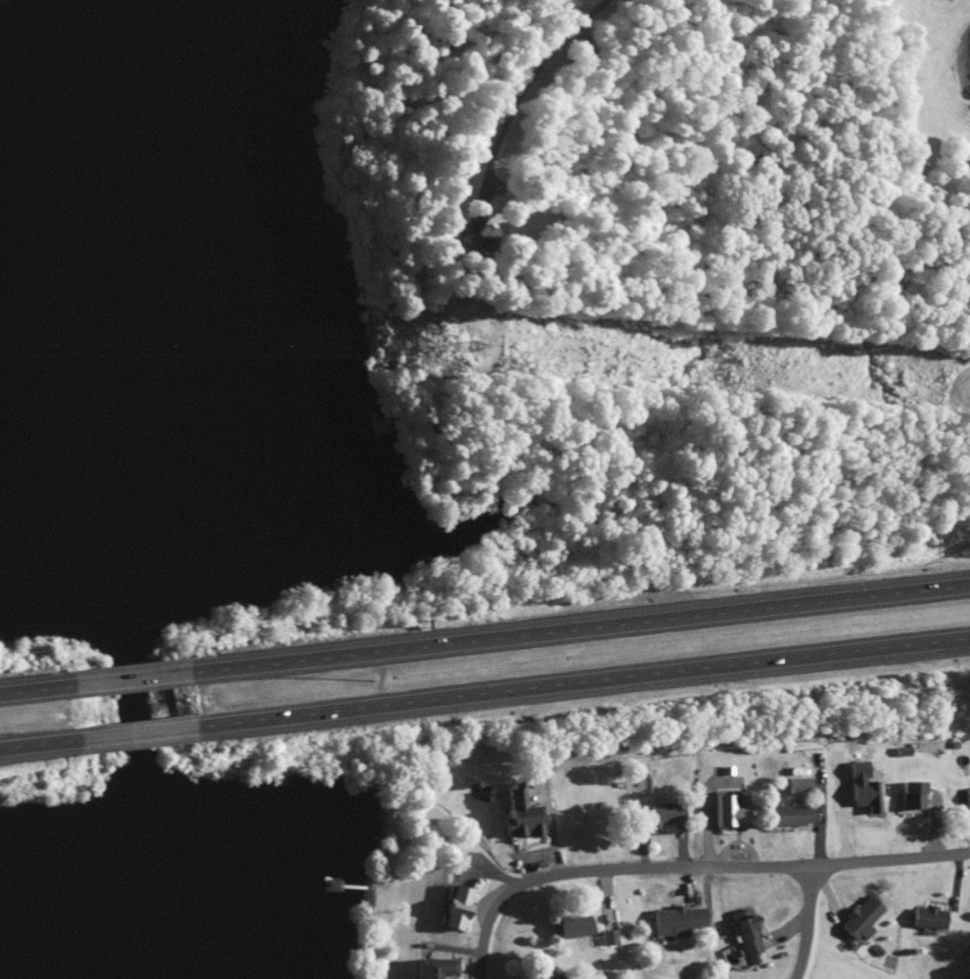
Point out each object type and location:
building: (460, 236)
building: (381, 428)
road: (580, 629)
road: (125, 680)
road: (583, 685)
road: (30, 691)
road: (132, 735)
road: (34, 745)
building: (795, 788)
building: (967, 795)
building: (725, 815)
building: (518, 817)
building: (661, 818)
building: (786, 818)
road: (691, 867)
building: (338, 888)
building: (453, 911)
building: (924, 920)
building: (856, 922)
road: (808, 923)
building: (674, 924)
building: (571, 929)
building: (743, 935)
building: (606, 940)
building: (433, 970)
building: (561, 977)
building: (968, 977)

